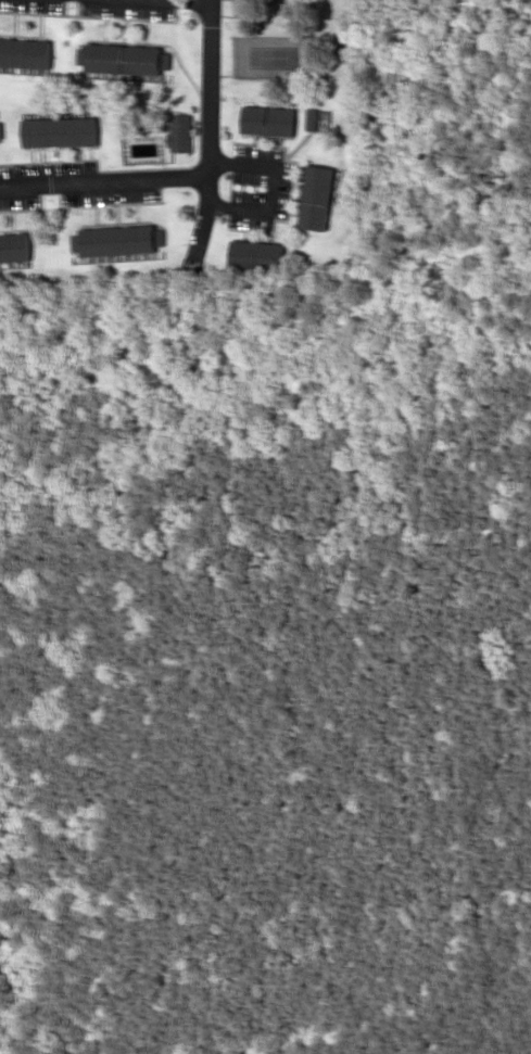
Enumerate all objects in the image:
road: (168, 3)
building: (24, 53)
park: (273, 56)
building: (123, 59)
building: (311, 119)
building: (268, 122)
building: (0, 130)
road: (212, 131)
building: (60, 132)
building: (179, 134)
road: (102, 181)
building: (315, 198)
building: (117, 241)
building: (13, 247)
building: (256, 256)

